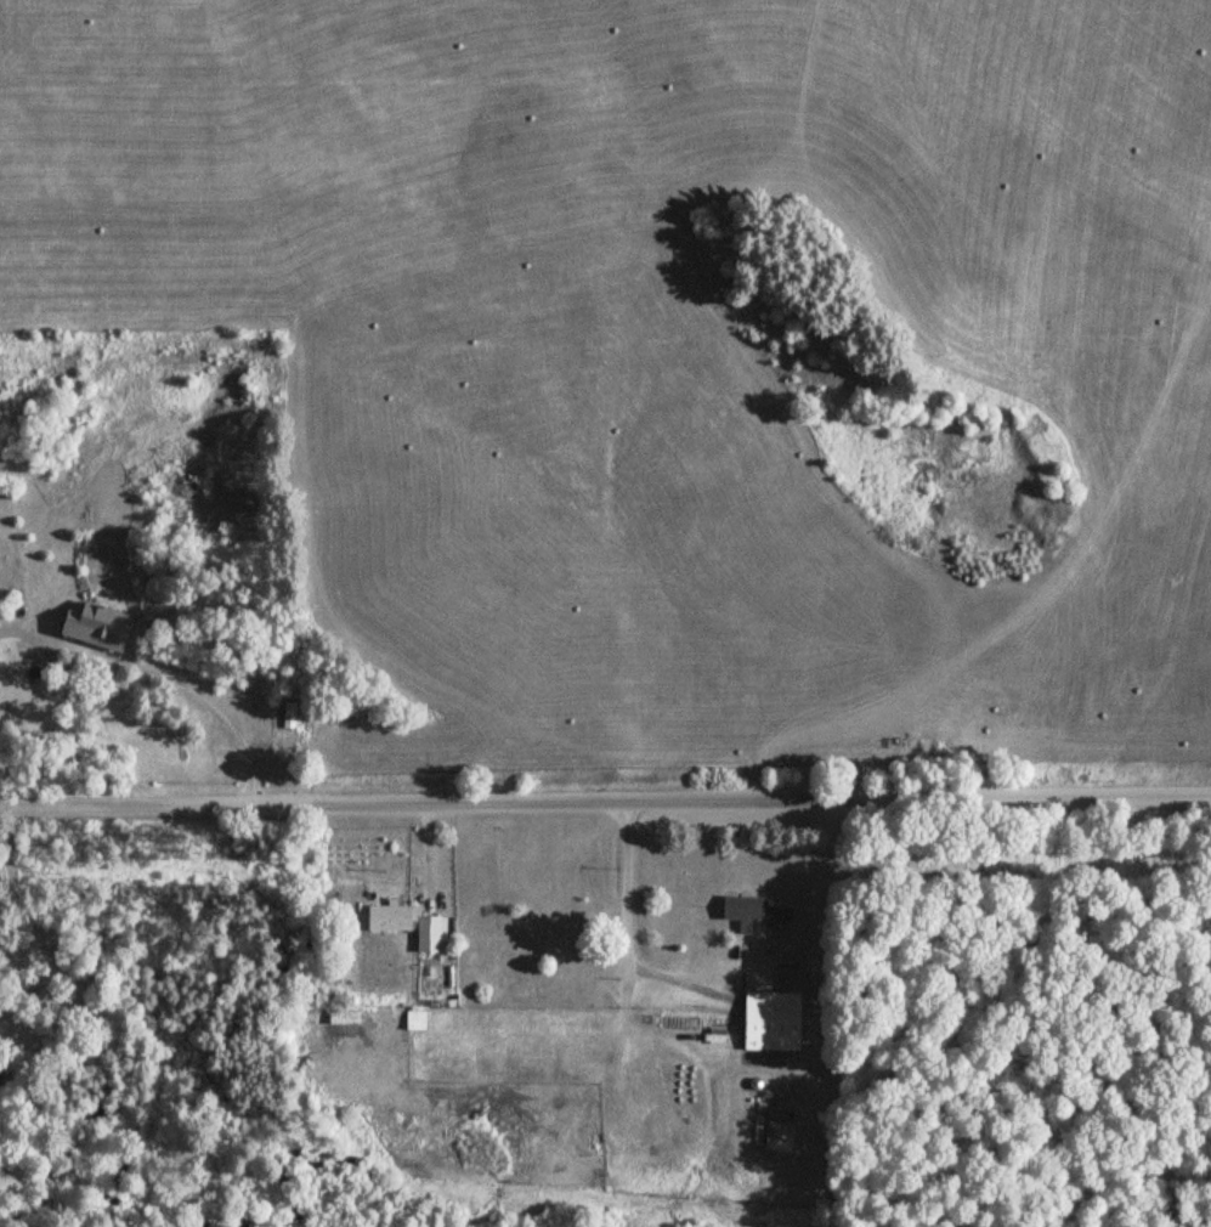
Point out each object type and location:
building: (239, 531)
building: (106, 626)
building: (285, 725)
road: (605, 808)
building: (747, 911)
building: (412, 923)
building: (420, 1019)
building: (769, 1020)
building: (776, 1136)

